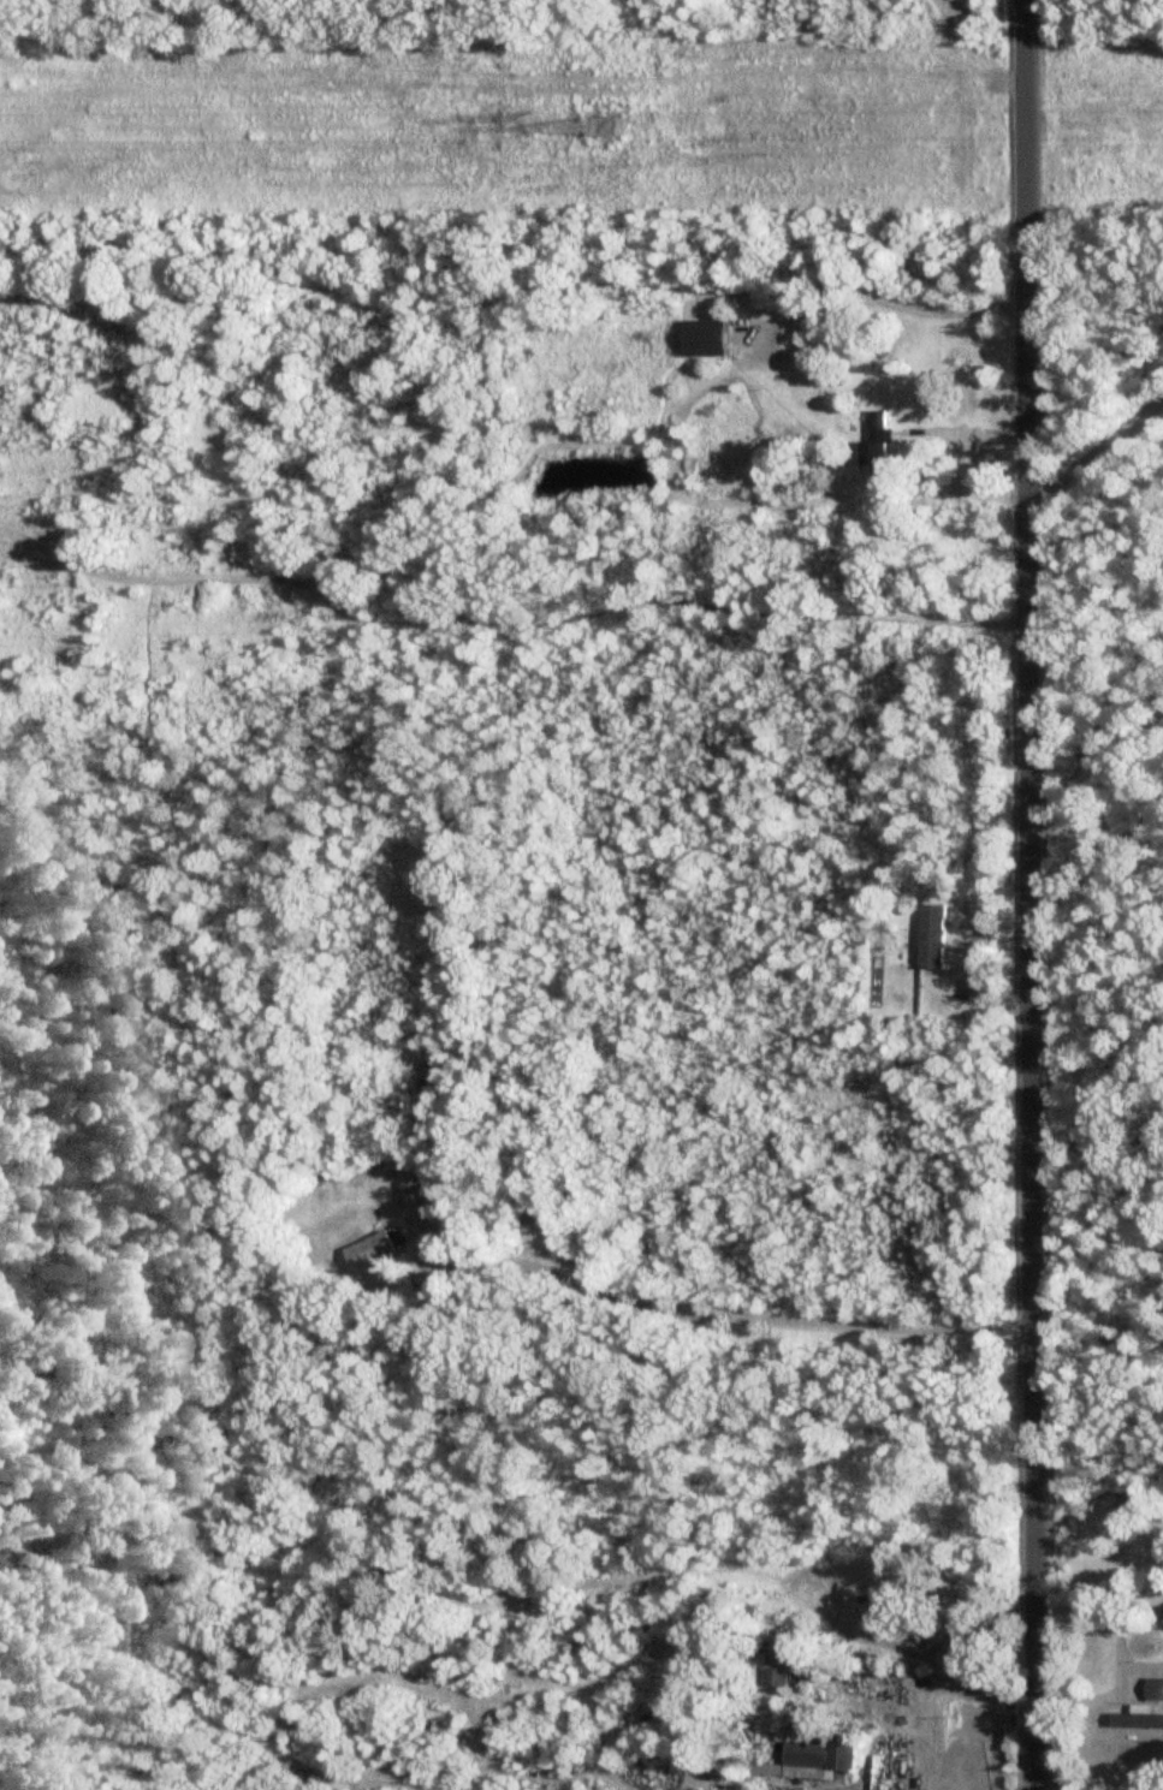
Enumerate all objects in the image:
power tower: (600, 133)
road: (880, 296)
building: (814, 337)
building: (704, 339)
building: (878, 446)
road: (1093, 452)
road: (1030, 894)
building: (931, 938)
building: (414, 1196)
building: (530, 1221)
building: (369, 1253)
road: (707, 1316)
building: (782, 1661)
road: (939, 1683)
building: (1155, 1690)
road: (1108, 1695)
building: (1138, 1719)
road: (924, 1736)
building: (809, 1750)

